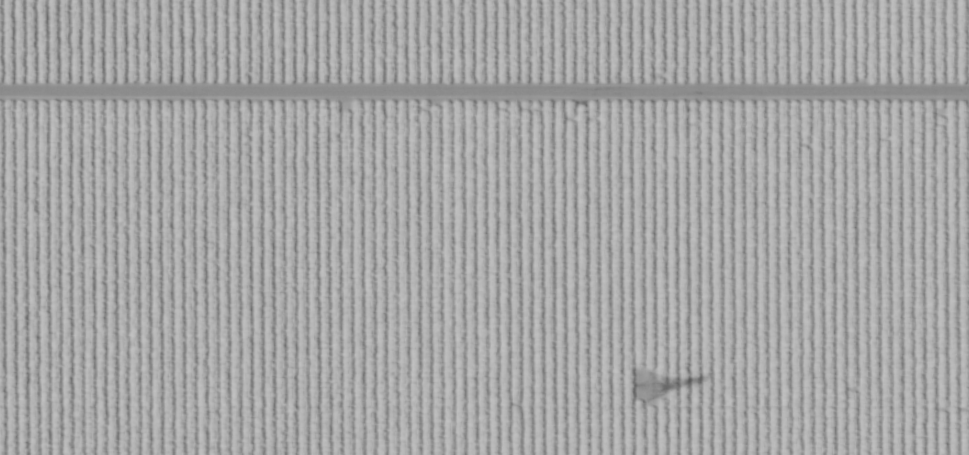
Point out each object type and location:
power tower: (645, 386)

